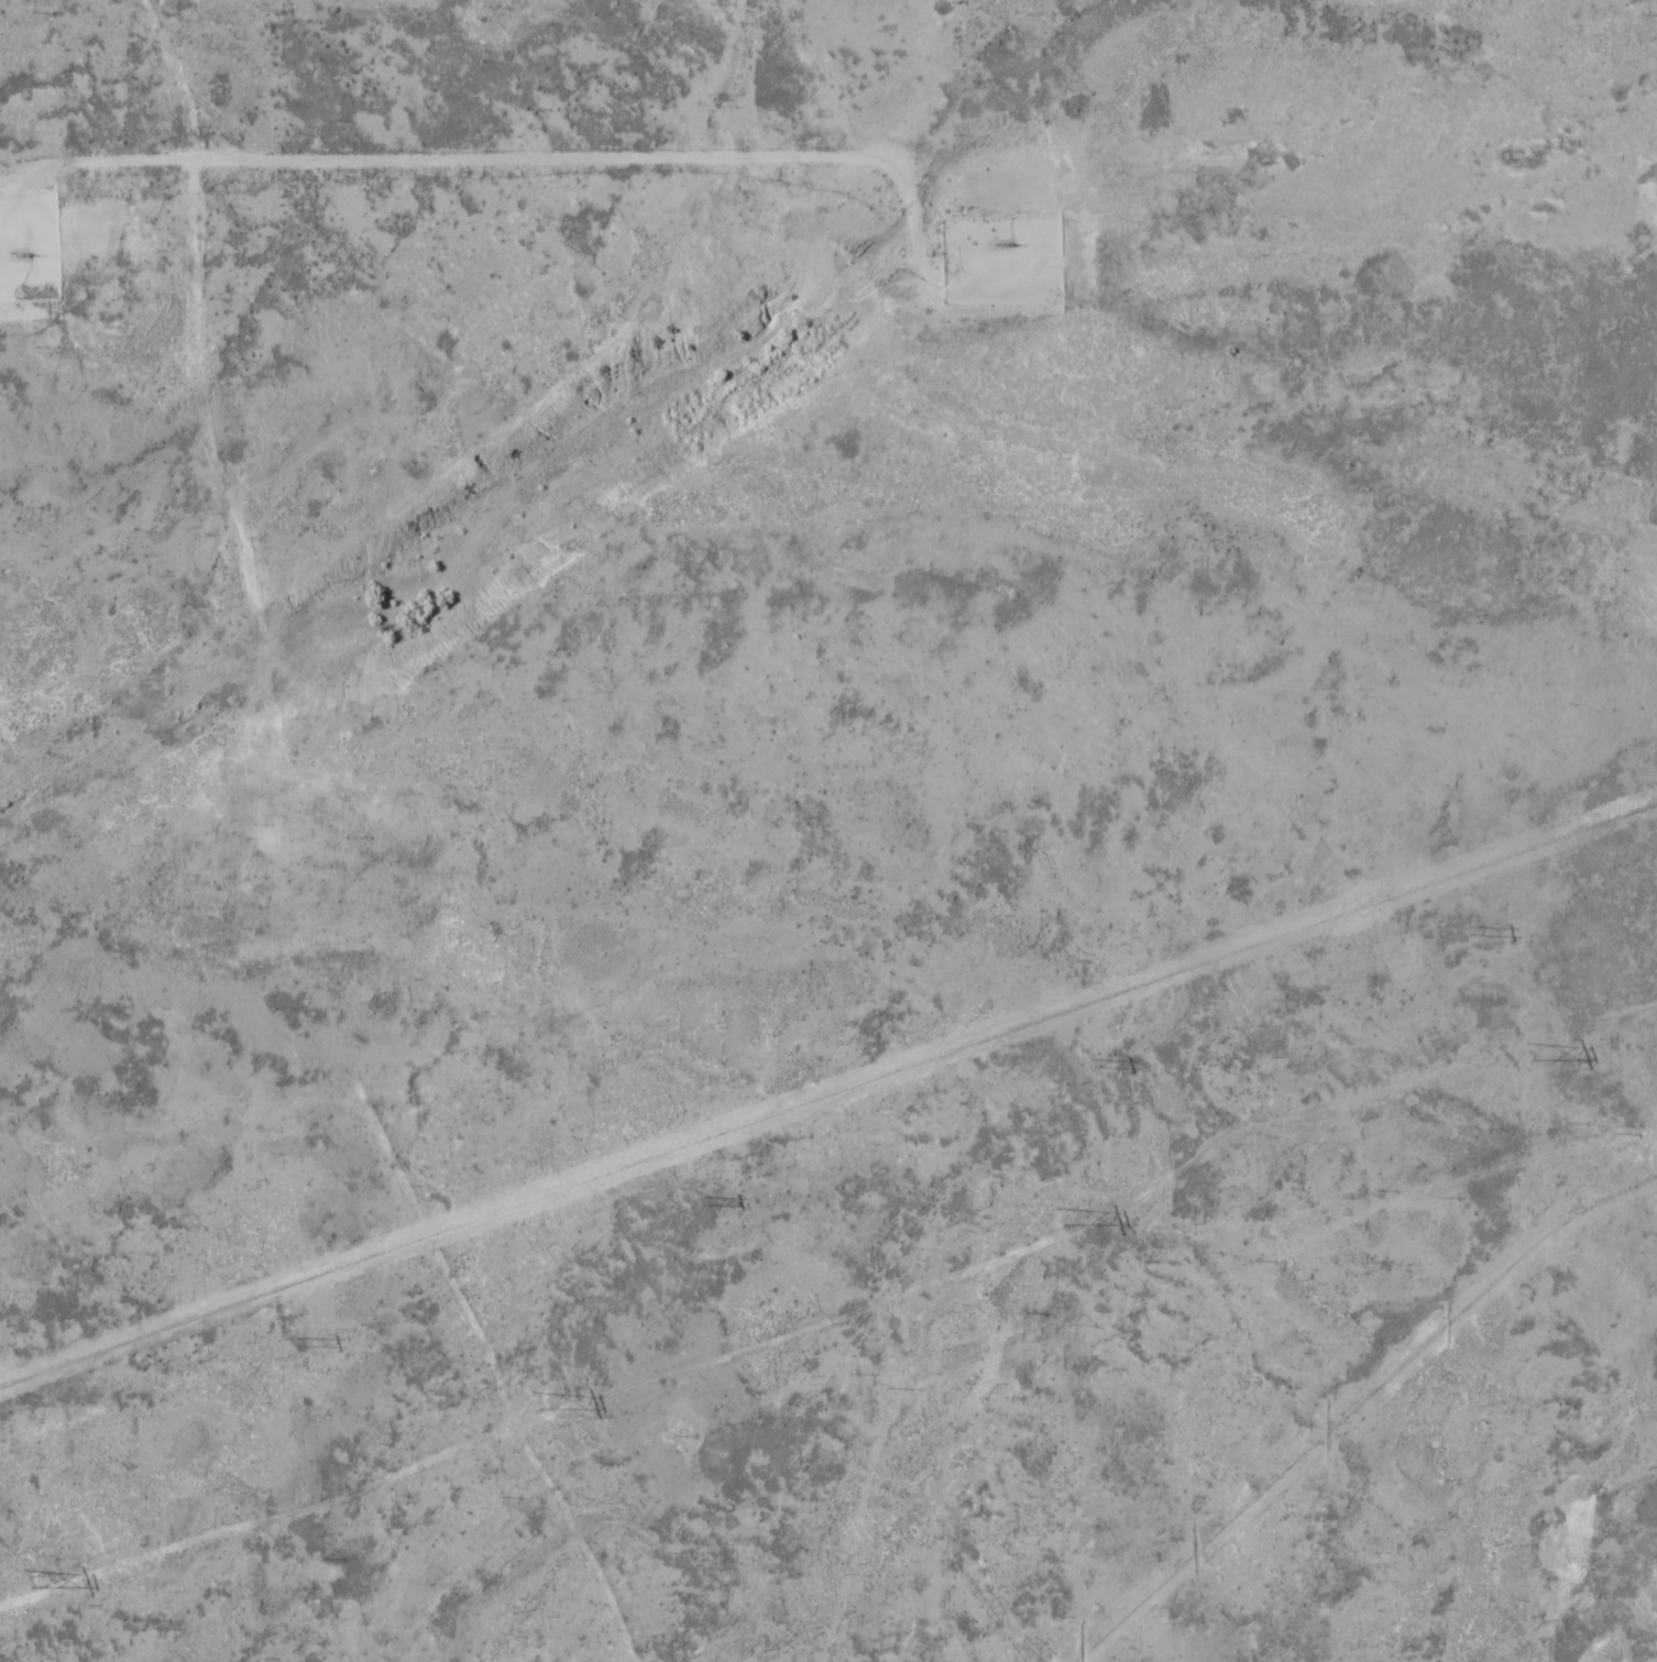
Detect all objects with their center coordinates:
road: (530, 163)
power tower: (1468, 932)
power tower: (1535, 1049)
power tower: (1089, 1065)
power tower: (699, 1202)
power tower: (1062, 1215)
power tower: (296, 1343)
power tower: (537, 1402)
power tower: (30, 1575)

